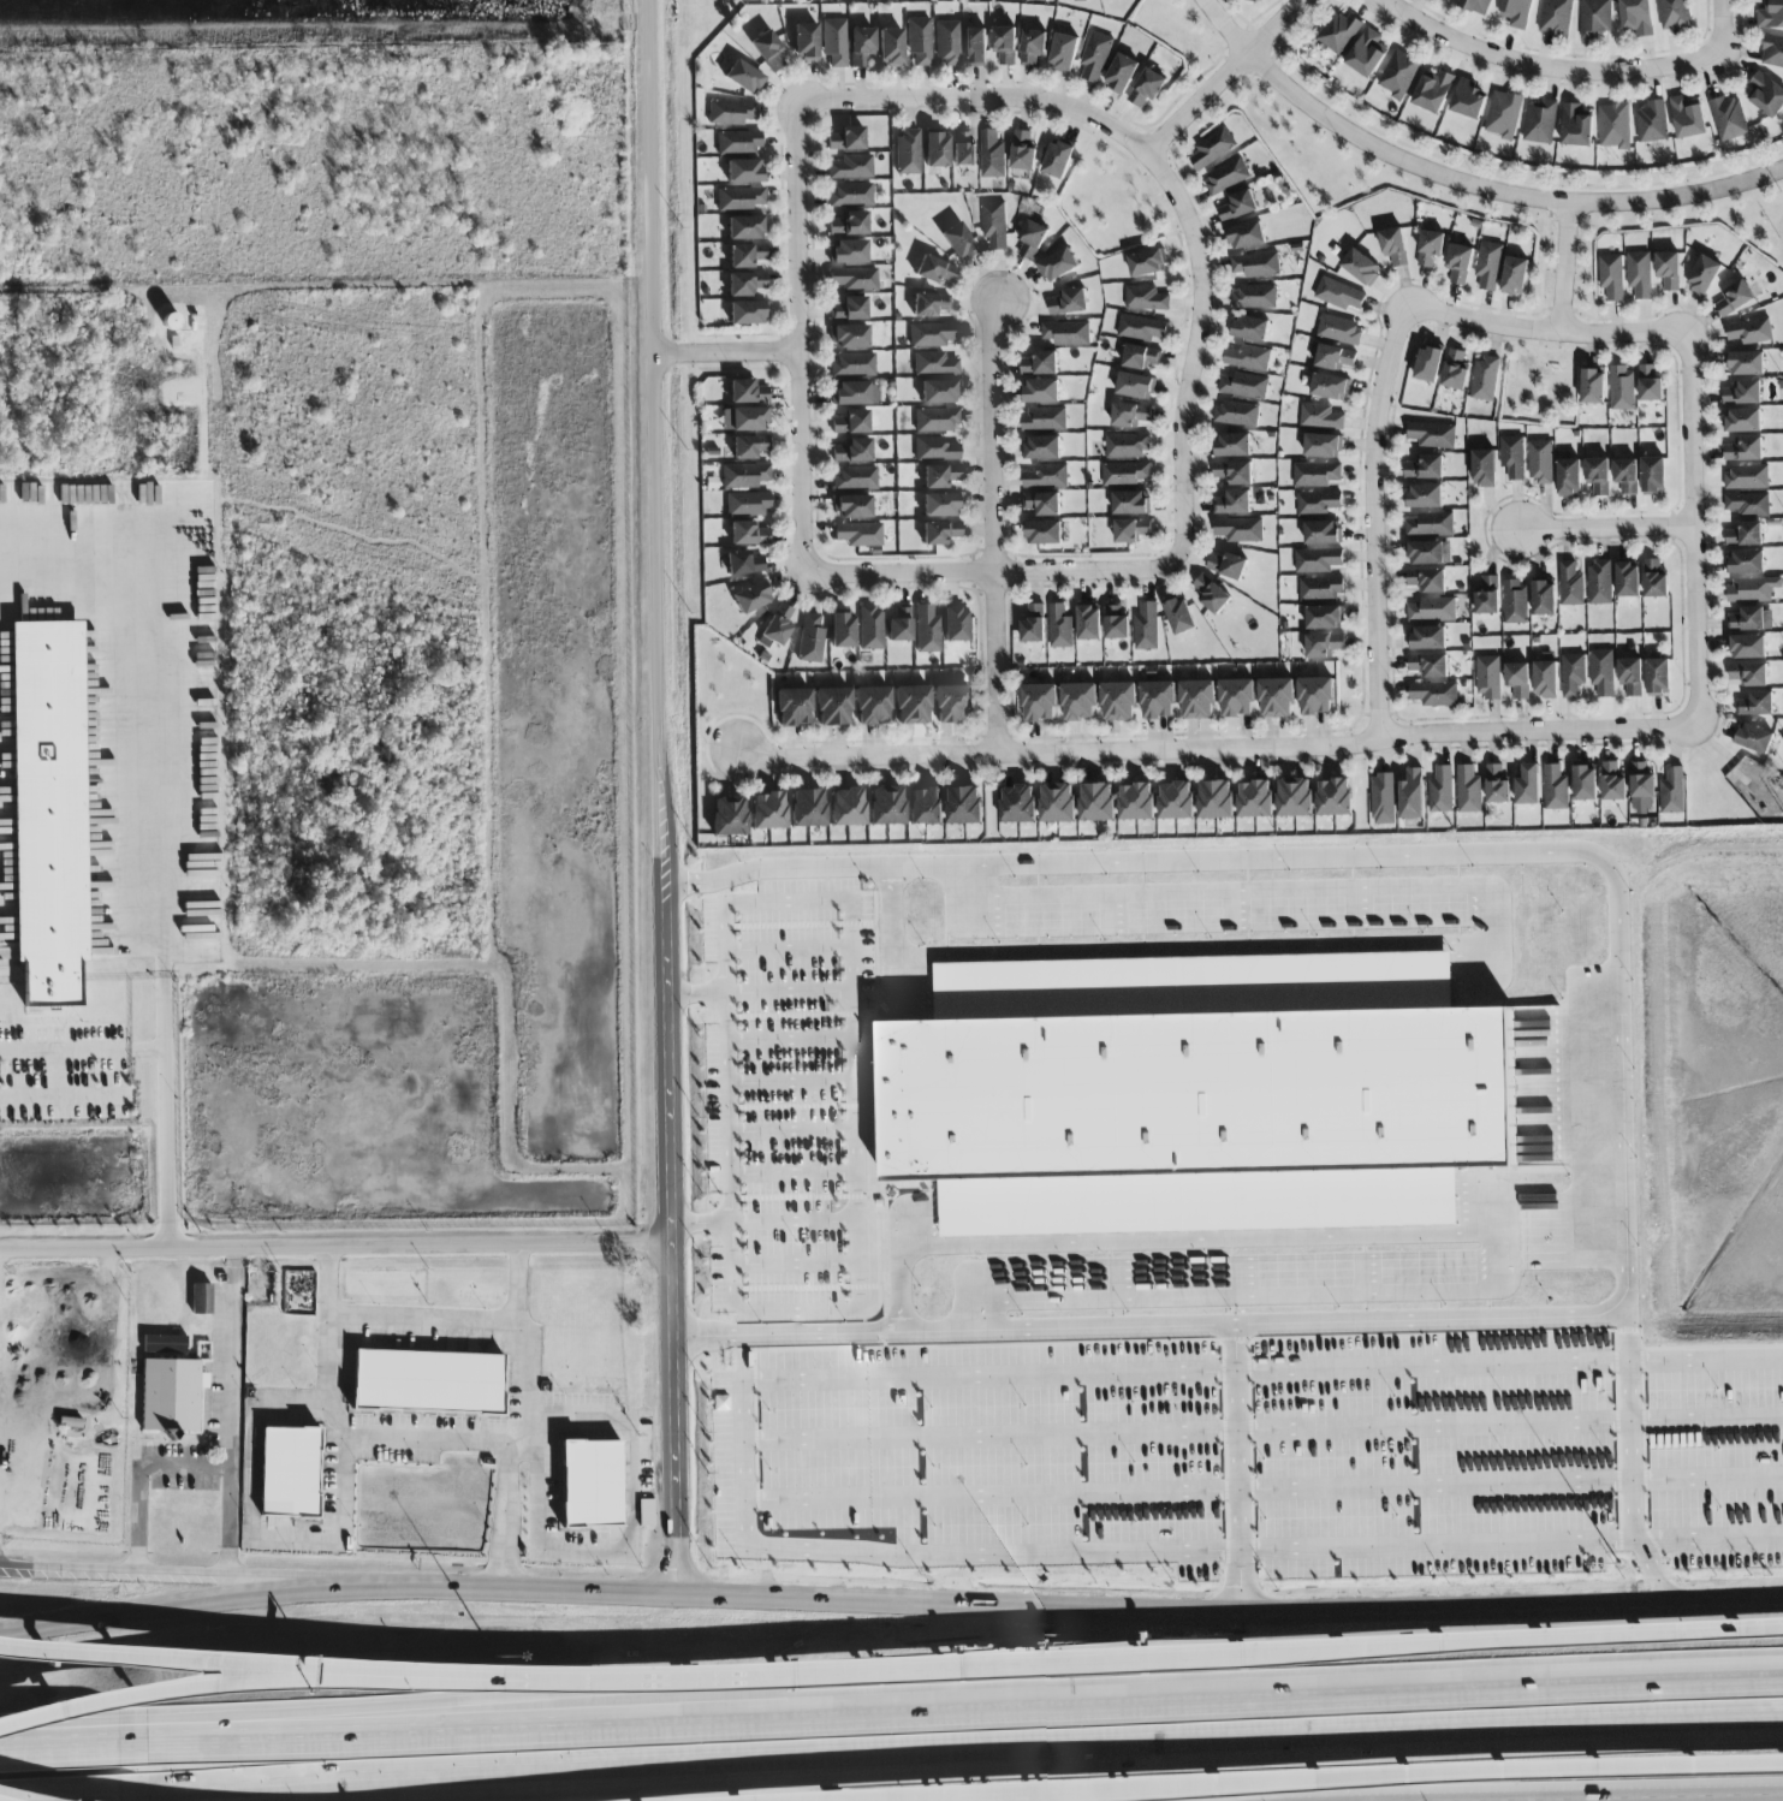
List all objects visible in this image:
building: (1080, 0)
building: (1475, 6)
building: (1516, 12)
building: (1674, 14)
building: (1771, 14)
building: (1556, 17)
building: (1595, 18)
building: (1636, 18)
road: (1723, 29)
building: (1338, 32)
building: (804, 42)
building: (920, 42)
building: (833, 43)
building: (946, 44)
building: (1003, 44)
building: (861, 46)
building: (973, 47)
building: (890, 48)
building: (1033, 49)
building: (1772, 50)
building: (769, 53)
building: (1064, 53)
building: (1367, 54)
building: (1095, 57)
road: (1552, 61)
building: (1122, 73)
building: (1399, 75)
road: (1223, 77)
building: (744, 79)
building: (1147, 88)
building: (1433, 91)
building: (1766, 95)
building: (1468, 100)
building: (731, 114)
building: (1504, 114)
building: (1729, 118)
building: (1687, 119)
building: (1539, 123)
building: (1652, 123)
building: (1577, 124)
building: (1615, 126)
building: (846, 141)
building: (738, 143)
building: (963, 149)
building: (1213, 149)
building: (935, 151)
building: (1023, 151)
building: (908, 153)
building: (992, 155)
building: (1058, 160)
building: (851, 168)
building: (745, 173)
road: (1158, 174)
building: (1226, 177)
road: (1468, 178)
building: (852, 196)
building: (739, 200)
building: (1238, 206)
building: (849, 225)
building: (995, 225)
building: (745, 228)
building: (1246, 236)
building: (1032, 239)
building: (958, 243)
building: (1393, 246)
building: (1430, 248)
building: (848, 252)
building: (747, 256)
building: (1147, 263)
building: (1460, 263)
building: (1058, 264)
building: (1256, 264)
building: (1488, 266)
road: (1565, 266)
building: (1361, 267)
building: (1668, 271)
building: (935, 272)
building: (1639, 274)
building: (1515, 275)
building: (1704, 275)
building: (1611, 277)
building: (854, 280)
building: (745, 285)
building: (1339, 295)
building: (1255, 297)
building: (1146, 298)
building: (1734, 298)
building: (1069, 302)
building: (929, 305)
building: (849, 310)
building: (748, 314)
building: (1141, 328)
building: (1250, 328)
building: (1341, 331)
building: (1749, 331)
road: (1568, 332)
road: (801, 334)
building: (1065, 334)
building: (932, 335)
building: (849, 338)
road: (730, 356)
building: (1140, 357)
building: (1249, 358)
building: (1335, 358)
building: (1040, 363)
building: (1746, 363)
building: (934, 364)
building: (1428, 364)
building: (854, 365)
building: (1455, 370)
building: (1485, 379)
building: (1650, 385)
building: (1135, 386)
building: (1244, 386)
building: (1330, 387)
building: (1593, 387)
building: (1622, 388)
building: (939, 392)
building: (1040, 392)
building: (748, 393)
building: (1742, 393)
building: (855, 394)
building: (1130, 415)
building: (1236, 415)
building: (1320, 417)
building: (1045, 418)
building: (1742, 420)
building: (744, 421)
building: (935, 421)
building: (850, 423)
building: (1432, 435)
building: (1232, 445)
building: (1128, 446)
building: (1323, 446)
building: (1042, 447)
building: (749, 448)
building: (935, 450)
building: (1743, 450)
building: (852, 452)
building: (1512, 457)
building: (1540, 462)
building: (1425, 468)
building: (1484, 468)
building: (1234, 472)
building: (1125, 474)
building: (1317, 475)
building: (1598, 475)
building: (1653, 475)
building: (744, 476)
building: (940, 476)
building: (1045, 476)
building: (1627, 476)
building: (1569, 477)
building: (1746, 477)
building: (855, 479)
road: (1377, 493)
building: (1425, 497)
building: (1131, 503)
building: (1234, 503)
building: (1319, 503)
building: (1042, 504)
building: (1747, 504)
building: (747, 505)
building: (940, 506)
building: (852, 507)
building: (1431, 524)
road: (1601, 527)
road: (995, 528)
road: (1686, 529)
building: (1131, 530)
building: (1238, 530)
building: (1044, 533)
building: (1323, 533)
building: (940, 534)
building: (1745, 534)
building: (748, 535)
building: (858, 535)
building: (1428, 553)
building: (1318, 560)
building: (1745, 563)
building: (744, 564)
building: (1226, 565)
road: (991, 570)
building: (1628, 579)
building: (1654, 579)
building: (1427, 581)
building: (1490, 581)
building: (1600, 582)
building: (1570, 584)
building: (1321, 588)
building: (1752, 589)
building: (1212, 595)
building: (751, 598)
building: (1544, 598)
building: (1515, 601)
building: (1487, 602)
building: (1432, 610)
building: (1179, 616)
building: (1325, 618)
building: (1751, 619)
building: (1116, 622)
building: (1089, 623)
building: (1034, 624)
building: (955, 625)
building: (777, 626)
building: (899, 626)
building: (1060, 626)
building: (1146, 626)
building: (870, 629)
building: (926, 630)
building: (842, 631)
building: (1427, 638)
building: (810, 641)
building: (1324, 644)
building: (1747, 647)
building: (1430, 665)
building: (1601, 672)
building: (1573, 674)
building: (1749, 674)
building: (1630, 676)
building: (1658, 676)
building: (1488, 677)
building: (1518, 679)
building: (1545, 679)
building: (1433, 694)
building: (1315, 695)
building: (1158, 697)
building: (1236, 697)
building: (1277, 697)
building: (1196, 699)
building: (1080, 702)
building: (1118, 702)
building: (1041, 703)
building: (910, 705)
building: (950, 705)
building: (1757, 705)
building: (870, 706)
building: (791, 707)
building: (831, 708)
building: (1754, 738)
road: (1219, 744)
building: (1585, 779)
building: (1613, 780)
building: (1497, 781)
building: (1529, 781)
building: (1556, 785)
building: (1642, 785)
building: (1442, 789)
building: (1469, 789)
building: (1674, 790)
building: (1411, 791)
building: (1295, 795)
building: (1336, 795)
building: (1216, 796)
building: (1256, 796)
building: (1177, 797)
building: (1384, 797)
road: (664, 798)
building: (1137, 801)
building: (1098, 802)
building: (1018, 803)
building: (1057, 803)
building: (47, 804)
building: (964, 804)
building: (885, 806)
building: (804, 807)
building: (845, 807)
building: (925, 807)
building: (766, 810)
road: (159, 813)
building: (729, 815)
road: (1212, 858)
road: (1452, 943)
road: (788, 947)
road: (789, 993)
road: (856, 1015)
road: (790, 1039)
road: (82, 1051)
road: (791, 1080)
building: (1196, 1093)
road: (725, 1107)
road: (794, 1130)
road: (1621, 1137)
road: (795, 1171)
road: (334, 1243)
road: (797, 1260)
road: (893, 1264)
building: (201, 1300)
road: (801, 1307)
road: (1300, 1321)
road: (427, 1331)
building: (164, 1345)
road: (1486, 1360)
road: (1, 1381)
building: (426, 1381)
road: (327, 1386)
road: (523, 1391)
building: (170, 1396)
road: (231, 1409)
road: (1260, 1423)
road: (458, 1445)
road: (739, 1462)
building: (286, 1472)
road: (139, 1476)
road: (250, 1481)
building: (588, 1482)
road: (1235, 1490)
road: (1261, 1491)
building: (643, 1511)
road: (1710, 1538)
road: (1436, 1544)
road: (629, 1552)
road: (18, 1571)
road: (218, 1574)
road: (689, 1598)
road: (1728, 1606)
road: (1528, 1610)
road: (1518, 1639)
road: (168, 1658)
road: (908, 1665)
road: (796, 1670)
road: (167, 1692)
road: (961, 1705)
road: (70, 1741)
road: (955, 1749)
road: (1339, 1779)
road: (573, 1784)
road: (64, 1788)
road: (1725, 1793)
road: (1534, 1797)
road: (8, 1799)

